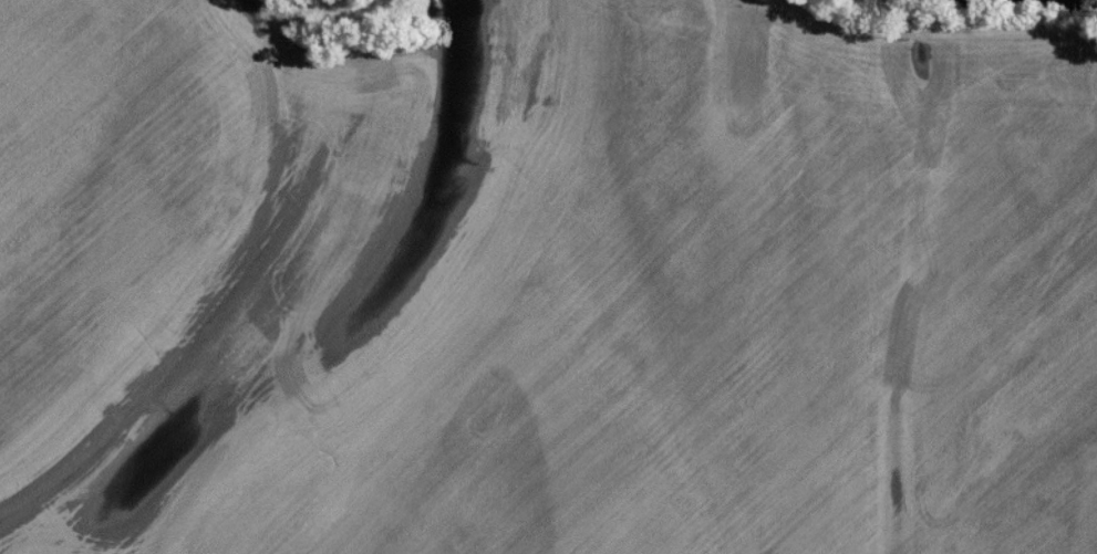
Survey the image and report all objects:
road: (933, 39)

